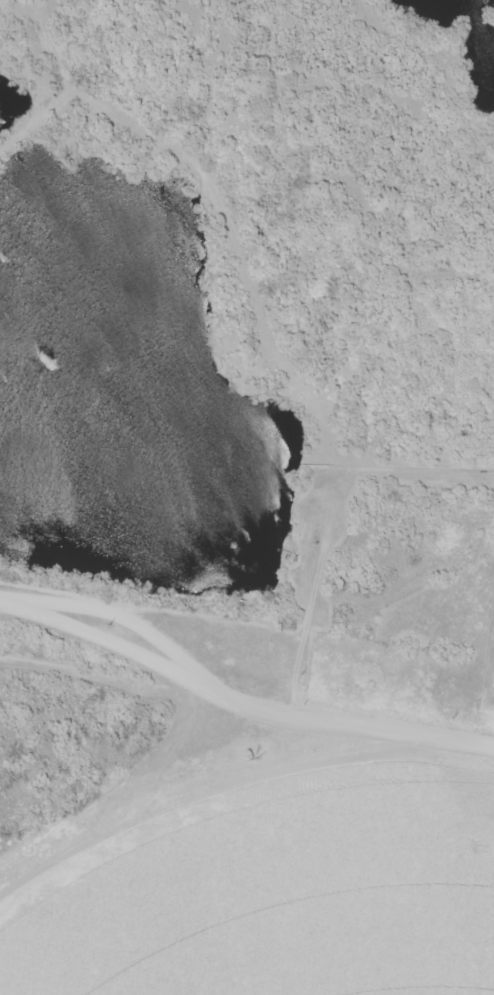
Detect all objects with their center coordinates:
road: (247, 609)
railway: (247, 653)

